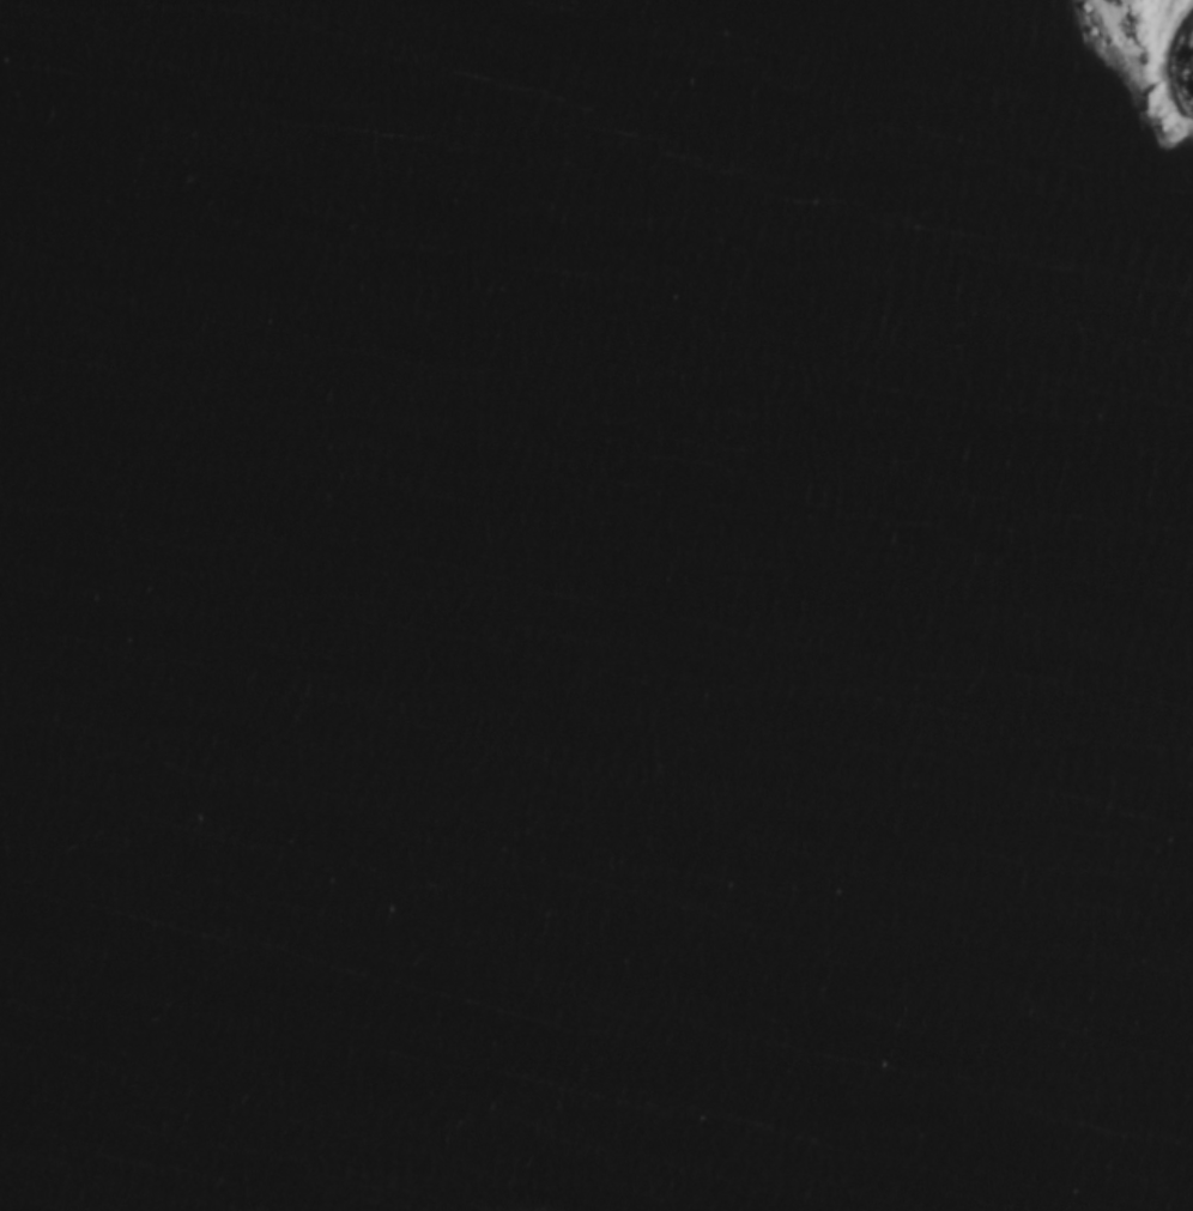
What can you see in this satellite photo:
river: (216, 1169)

